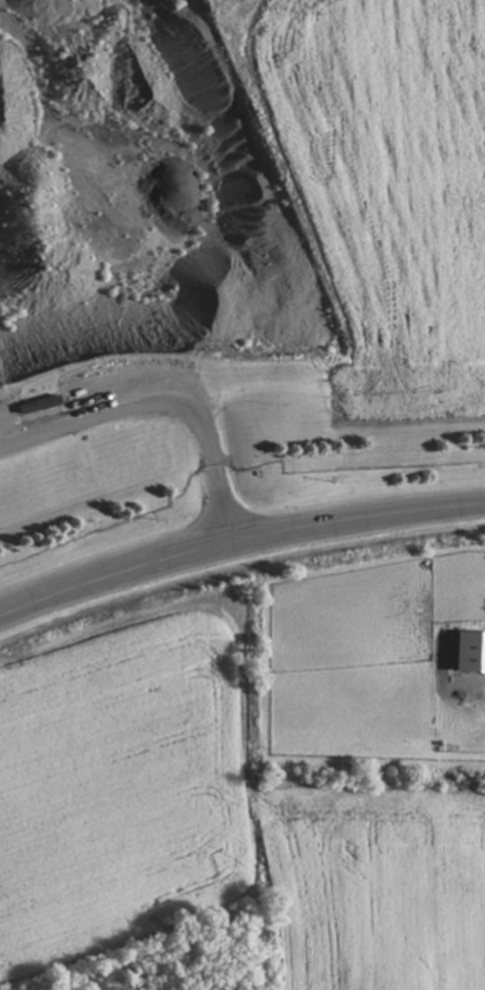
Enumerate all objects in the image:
quarry: (234, 265)
building: (40, 406)
road: (238, 540)

